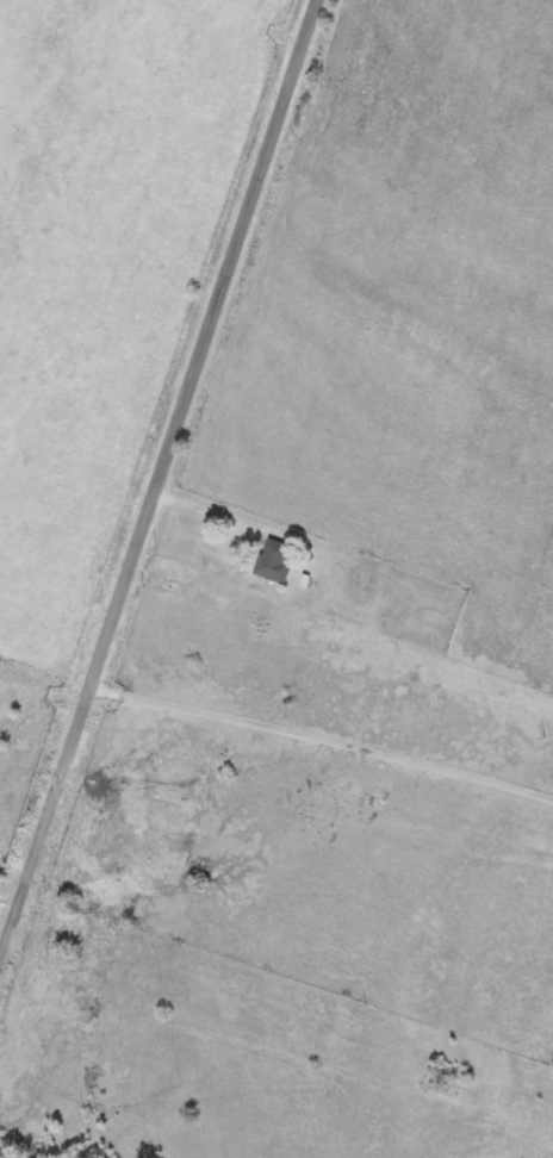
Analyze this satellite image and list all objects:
road: (156, 481)
road: (210, 512)
building: (275, 562)

